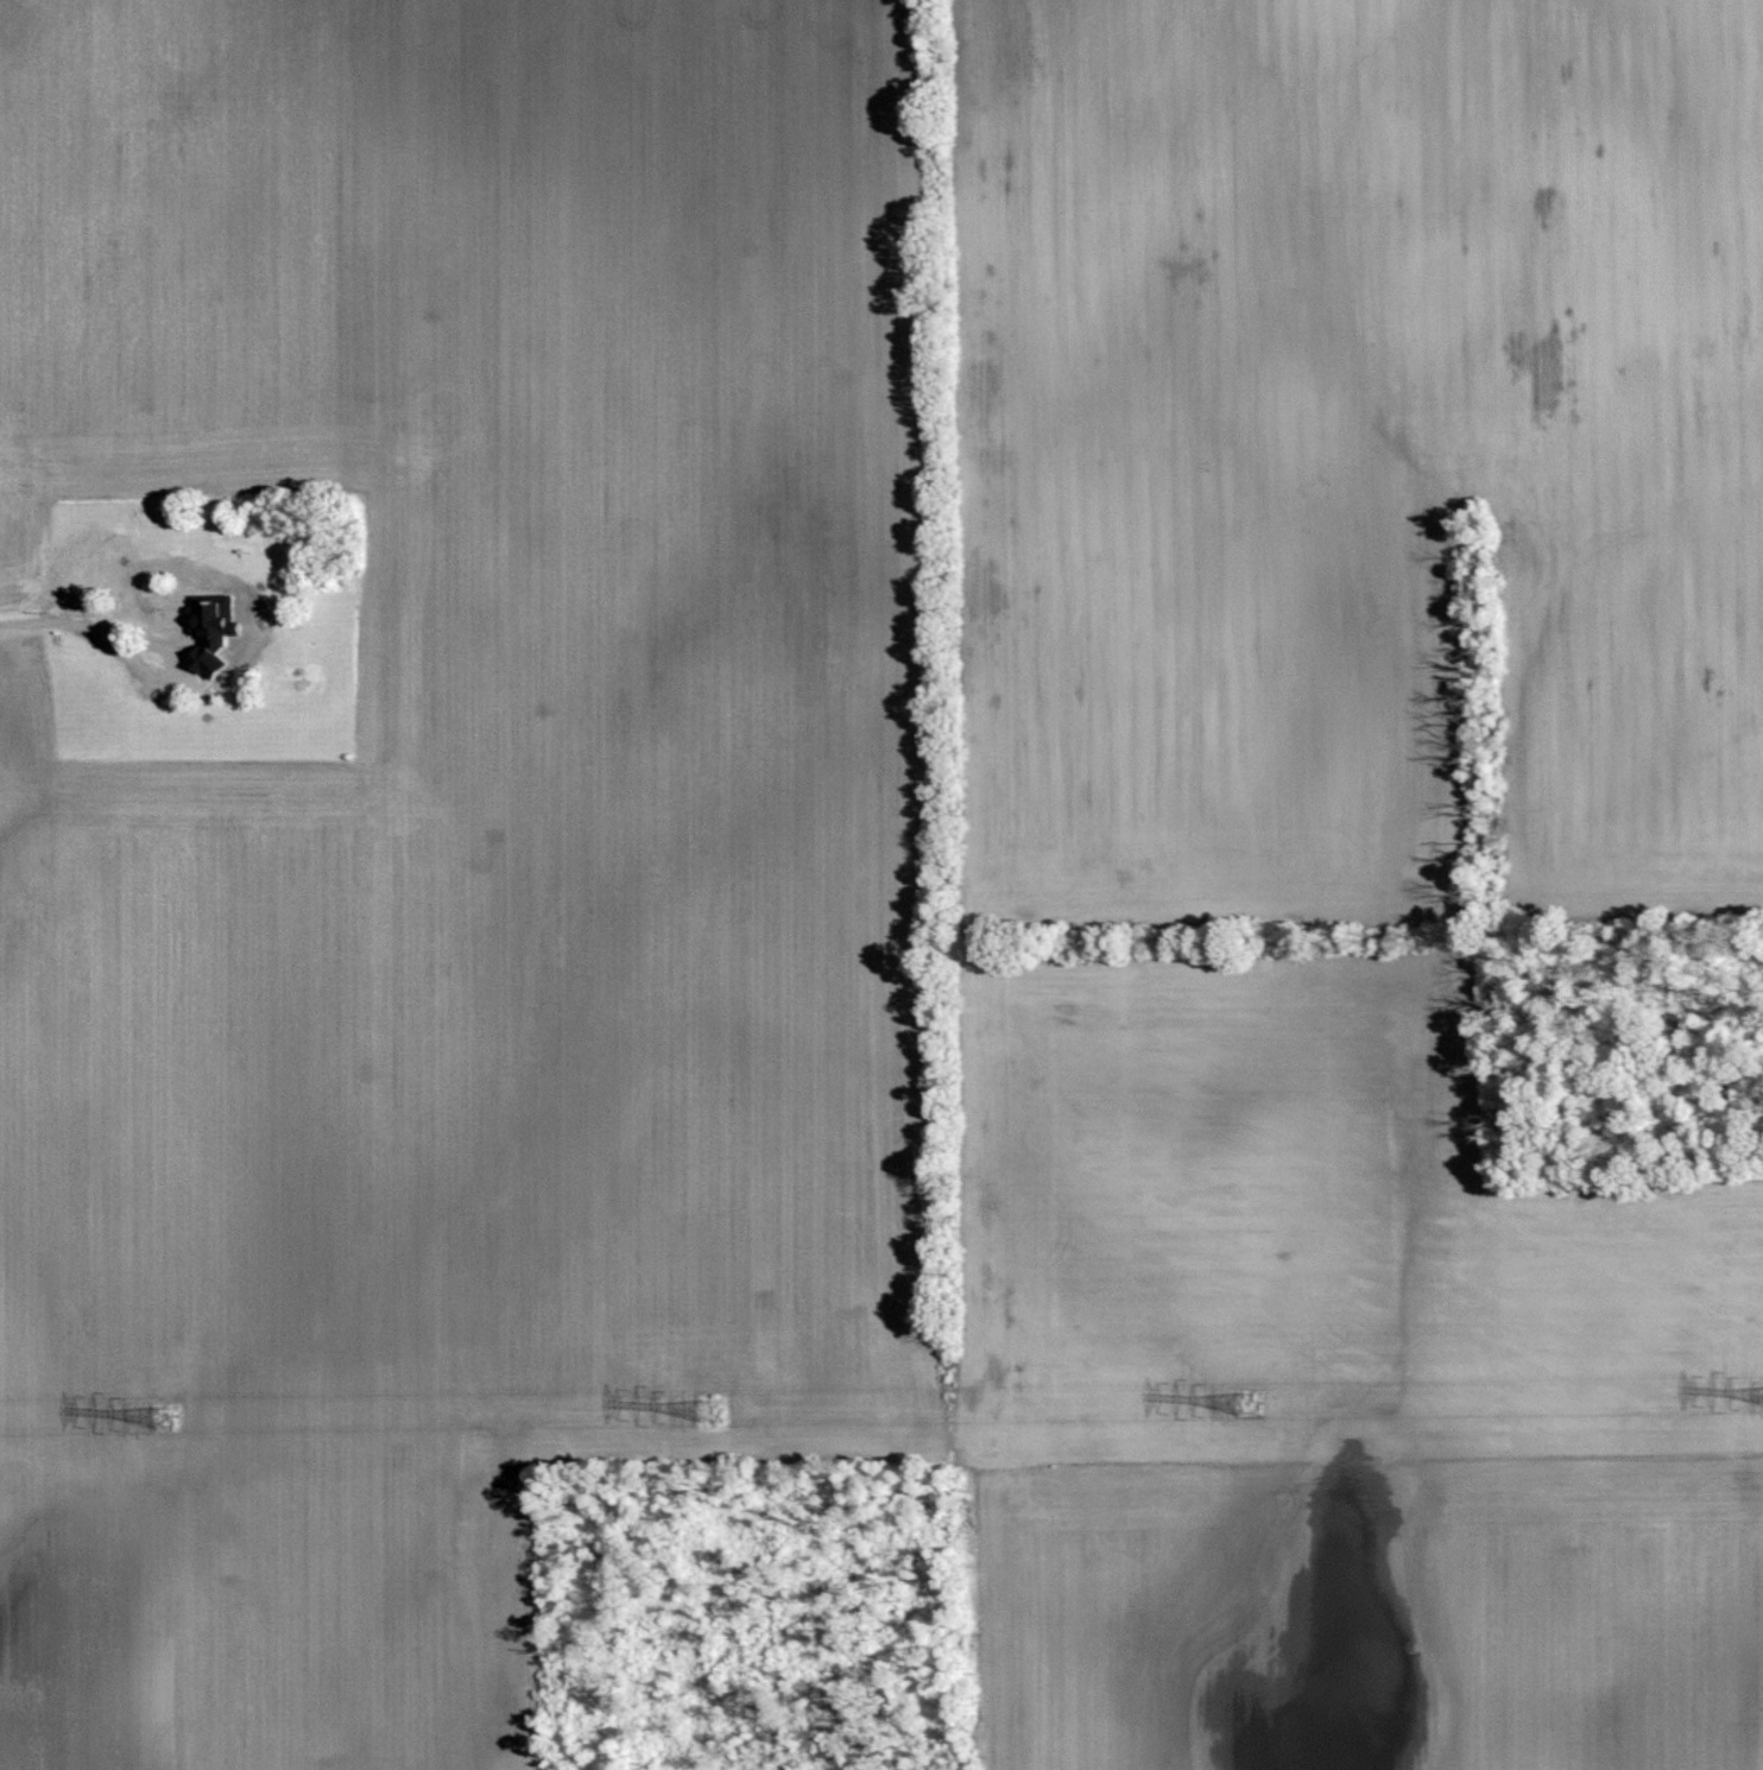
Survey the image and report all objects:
road: (87, 627)
power tower: (1247, 1405)
power tower: (712, 1410)
power tower: (166, 1417)

